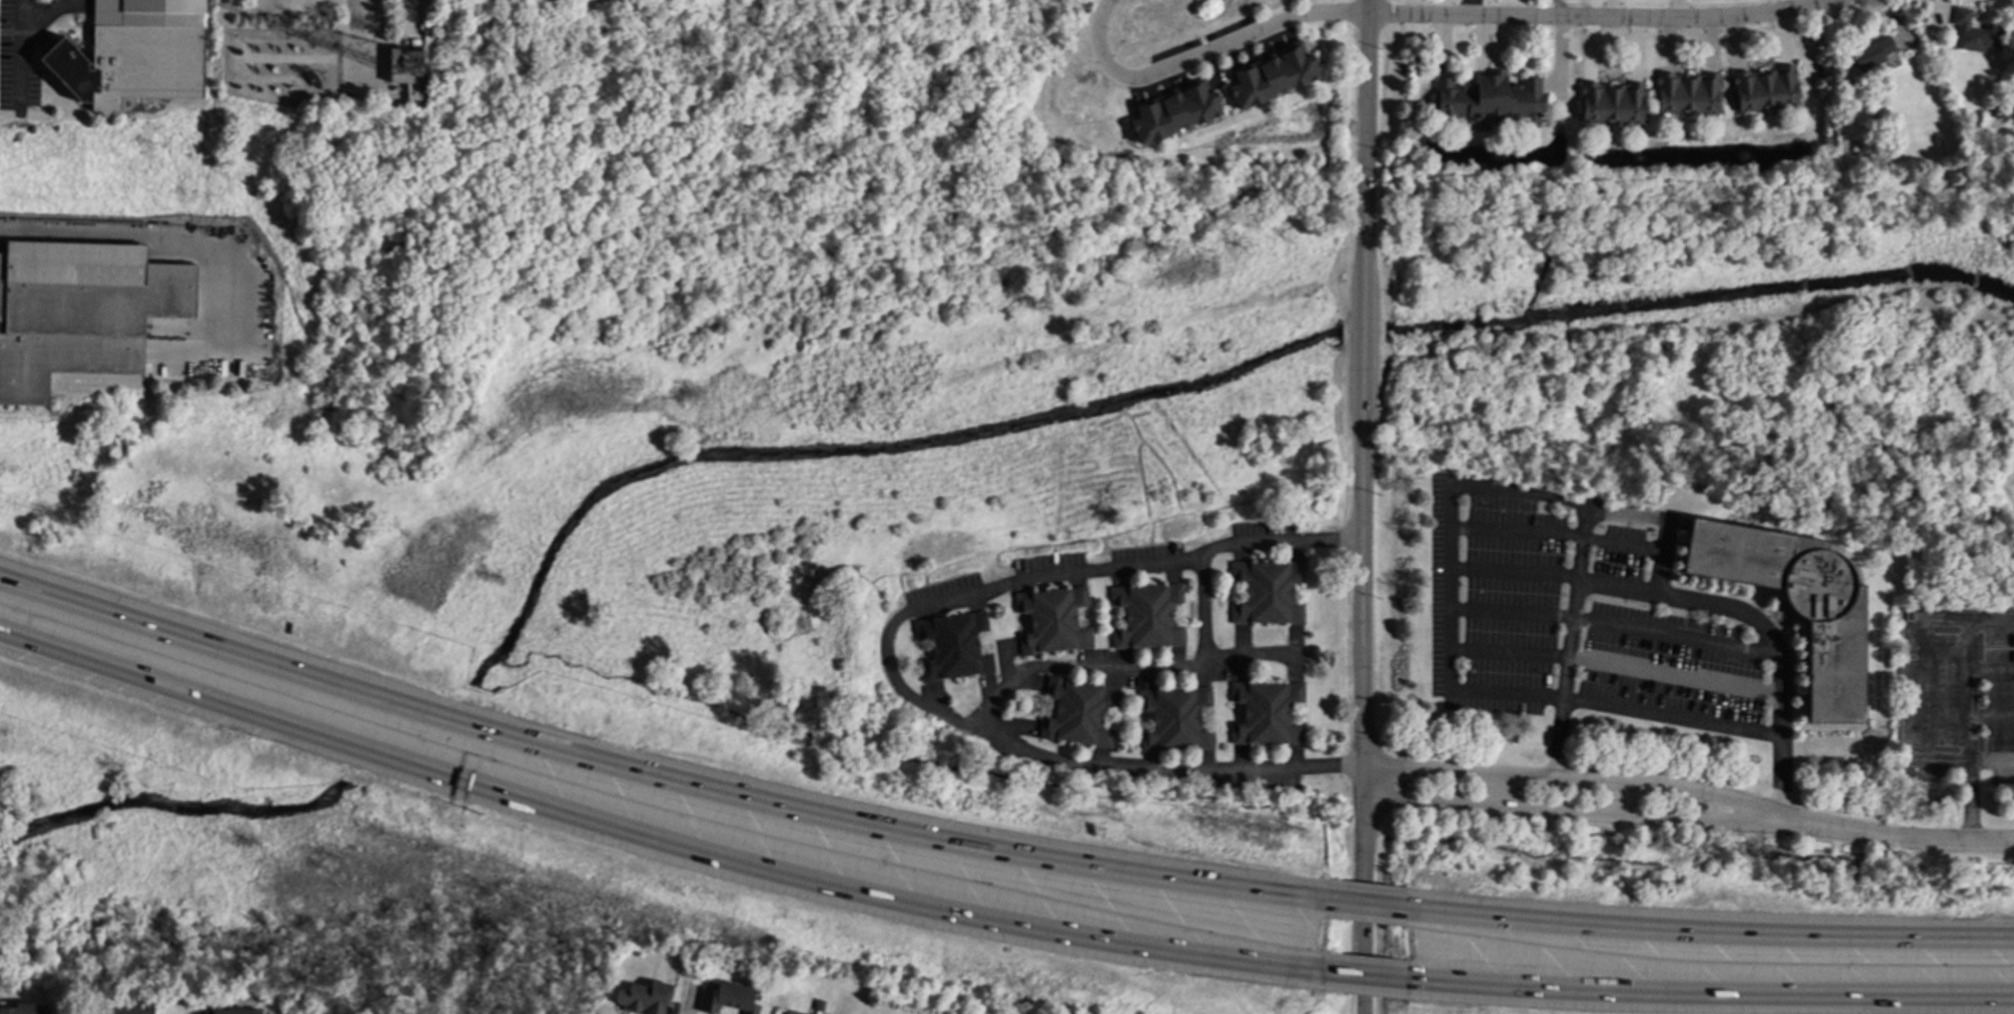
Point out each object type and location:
parking lot: (70, 6)
road: (41, 12)
road: (1595, 15)
road: (354, 32)
building: (1974, 32)
road: (19, 50)
road: (1202, 50)
parking lot: (21, 52)
building: (135, 53)
building: (1870, 53)
parking lot: (1207, 54)
building: (407, 70)
building: (1272, 74)
building: (1764, 89)
building: (1686, 93)
building: (1486, 99)
building: (1611, 103)
building: (1174, 111)
road: (1365, 120)
building: (80, 311)
road: (1477, 485)
parking lot: (1265, 539)
parking lot: (1145, 562)
parking lot: (1048, 571)
road: (1552, 574)
road: (1236, 583)
road: (1298, 591)
road: (1228, 592)
building: (1266, 592)
road: (1306, 593)
parking lot: (945, 597)
road: (1177, 603)
building: (1795, 603)
road: (1084, 607)
road: (1116, 608)
road: (1185, 614)
building: (1147, 615)
road: (1014, 616)
road: (1092, 616)
road: (1993, 616)
road: (1108, 618)
building: (1054, 620)
road: (1023, 623)
road: (1362, 627)
road: (1567, 641)
building: (953, 646)
road: (992, 648)
road: (884, 654)
parking lot: (1294, 654)
road: (915, 655)
road: (1250, 657)
parking lot: (1233, 658)
road: (1921, 662)
parking lot: (1130, 667)
road: (1125, 668)
road: (1111, 708)
road: (1206, 708)
building: (1079, 712)
road: (1145, 712)
road: (1233, 712)
road: (1238, 713)
building: (1266, 713)
road: (1298, 713)
road: (1993, 713)
road: (1306, 714)
road: (1214, 717)
road: (1117, 718)
road: (1137, 720)
building: (1175, 720)
road: (1970, 736)
road: (1992, 759)
parking lot: (1229, 770)
road: (652, 777)
road: (1571, 778)
road: (1570, 808)
road: (1894, 834)
road: (651, 838)
park: (208, 861)
road: (1366, 907)
road: (1711, 934)
road: (1364, 977)
road: (1710, 996)
building: (644, 998)
building: (727, 999)
building: (125, 1008)
building: (24, 1009)
building: (233, 1011)
building: (314, 1013)
building: (790, 1013)

